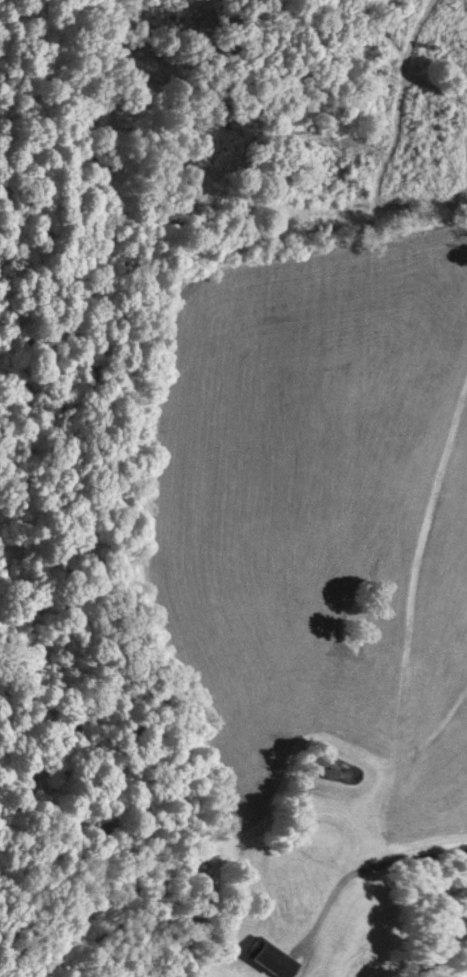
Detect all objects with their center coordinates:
road: (367, 871)
building: (268, 957)

